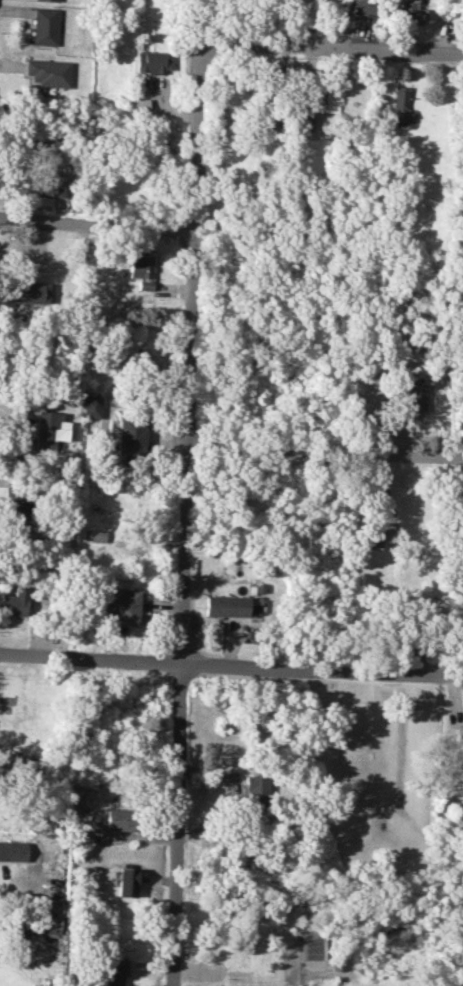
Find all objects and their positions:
building: (49, 0)
building: (361, 10)
building: (409, 12)
building: (45, 26)
road: (329, 54)
building: (153, 61)
building: (49, 72)
building: (326, 99)
building: (399, 104)
building: (137, 105)
building: (305, 119)
building: (49, 185)
road: (95, 223)
building: (141, 270)
building: (30, 292)
building: (415, 396)
building: (91, 406)
building: (49, 430)
building: (131, 437)
road: (324, 455)
road: (183, 492)
building: (13, 505)
building: (98, 535)
building: (15, 602)
building: (255, 604)
building: (226, 605)
building: (123, 606)
road: (231, 665)
building: (257, 789)
road: (231, 792)
building: (119, 819)
building: (12, 850)
building: (124, 881)
building: (112, 972)

